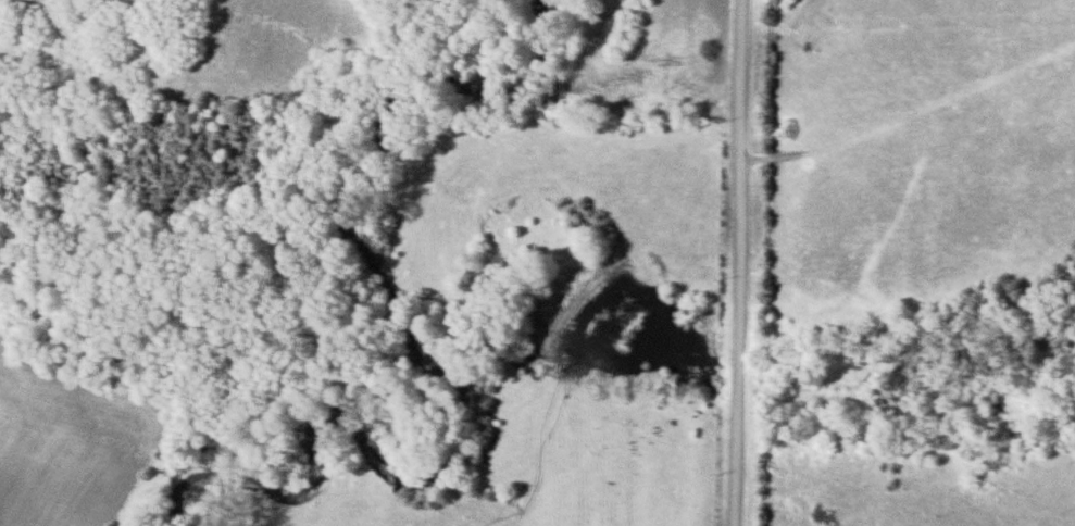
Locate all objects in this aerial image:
road: (738, 262)

